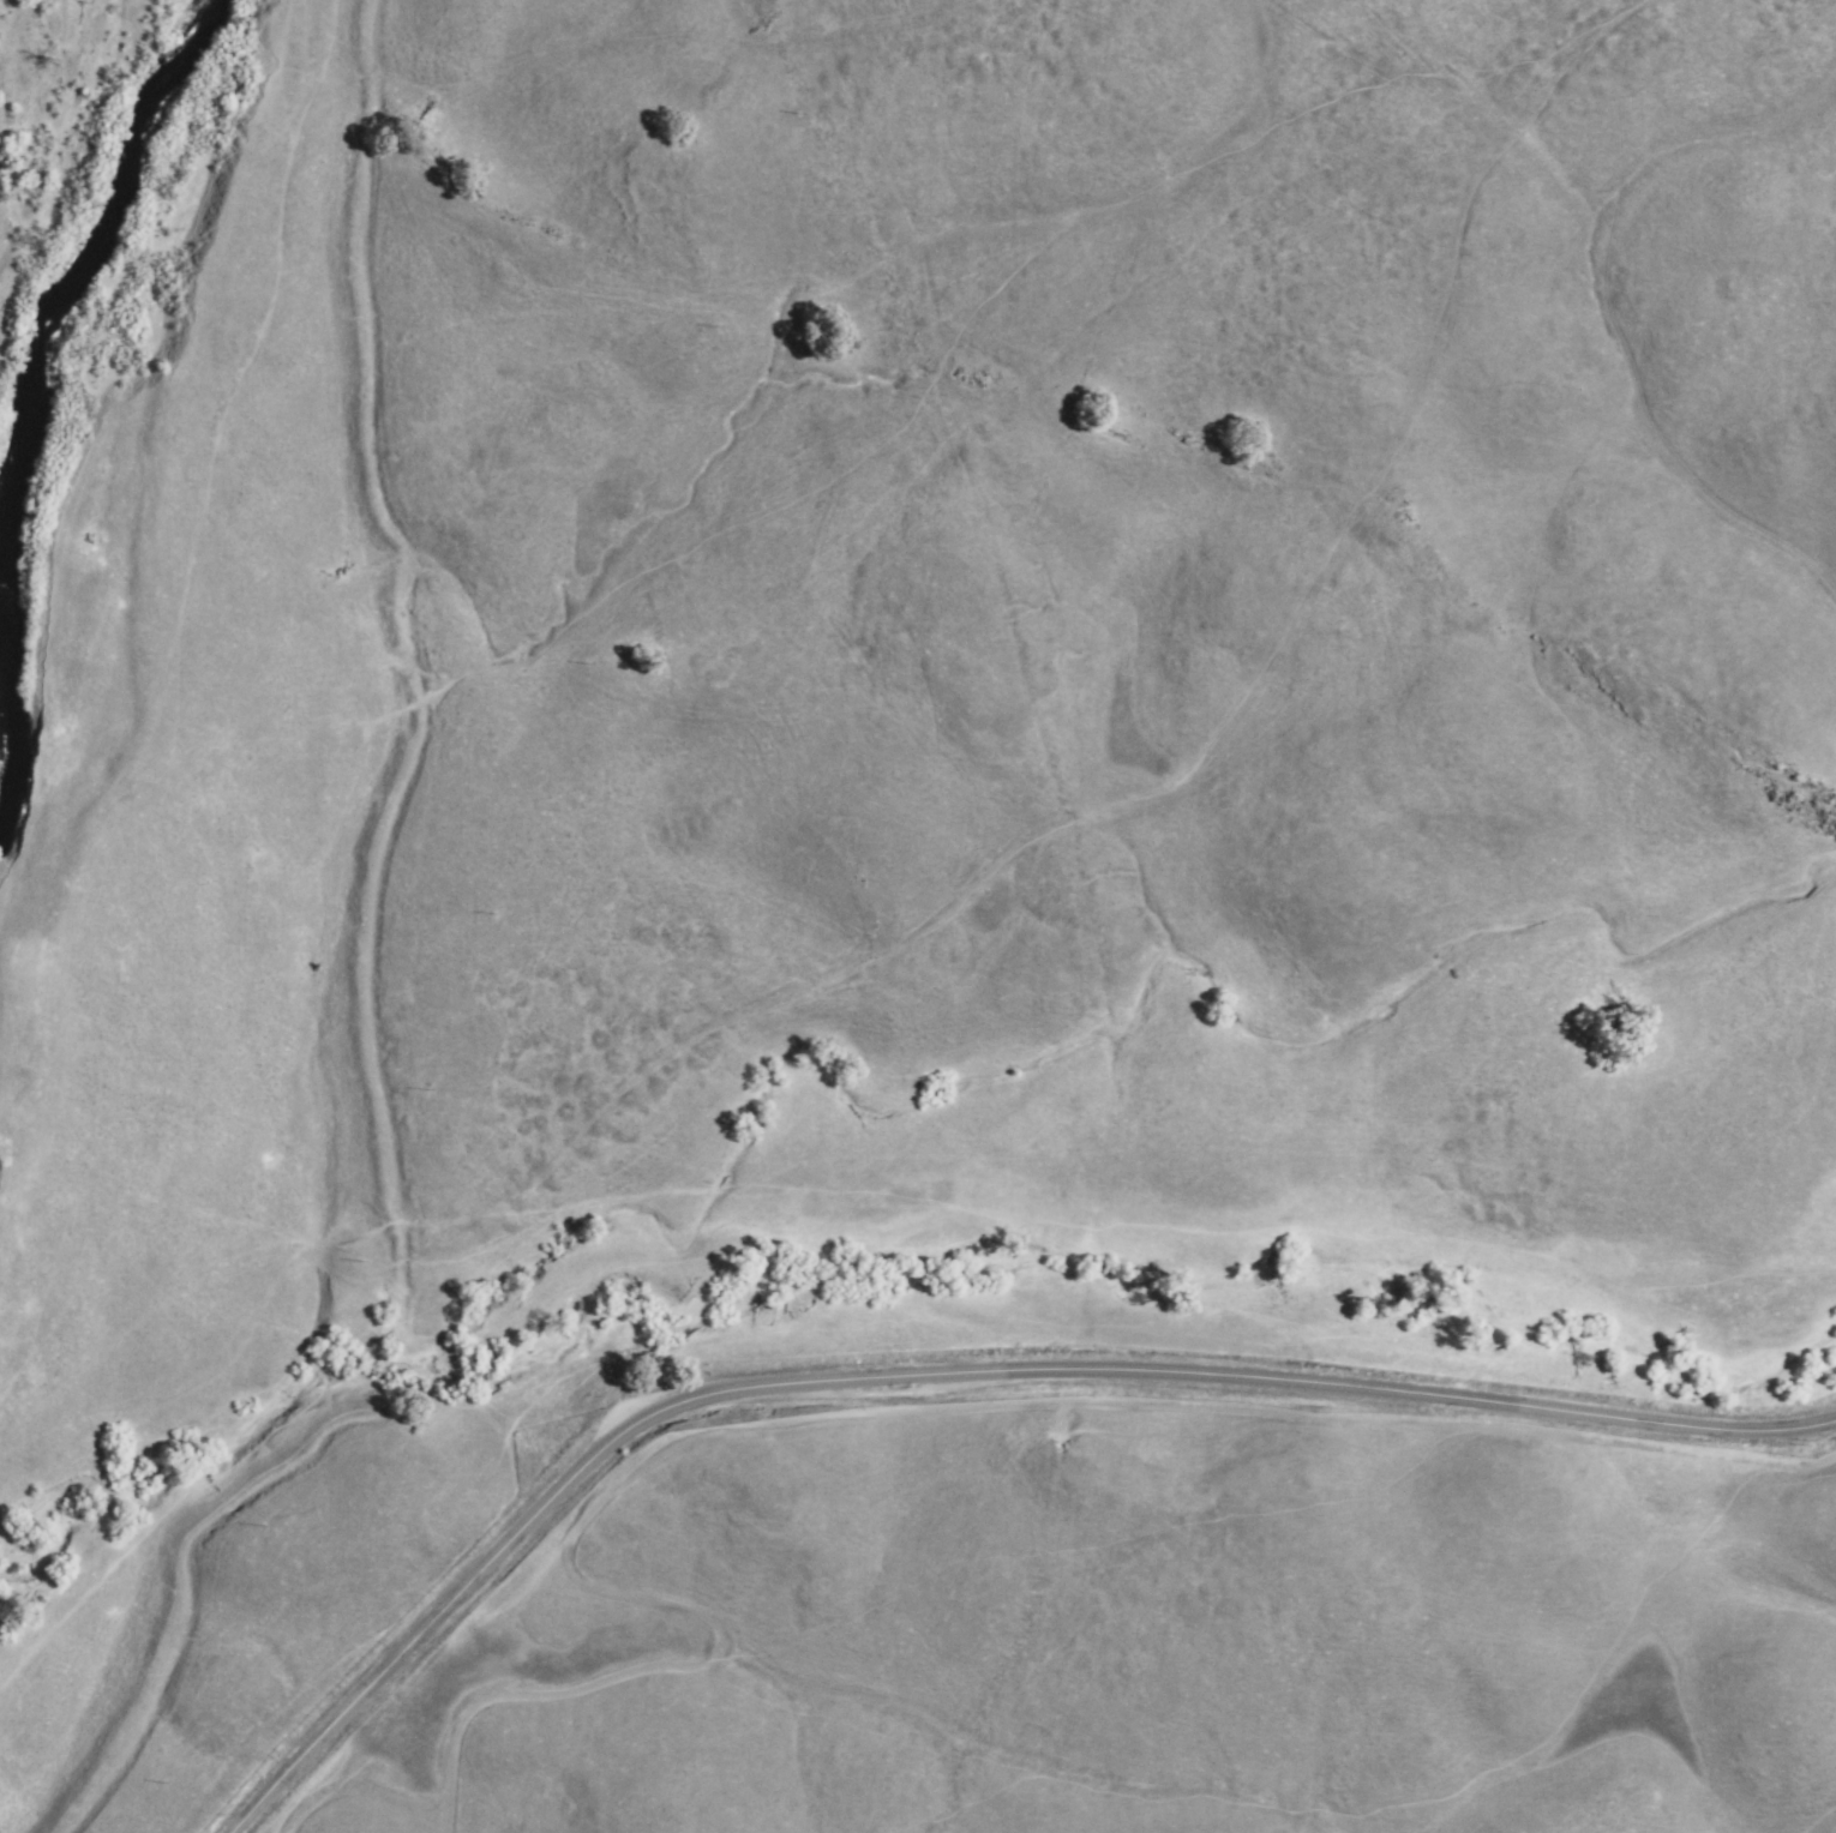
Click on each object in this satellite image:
river: (79, 266)
road: (946, 1377)

